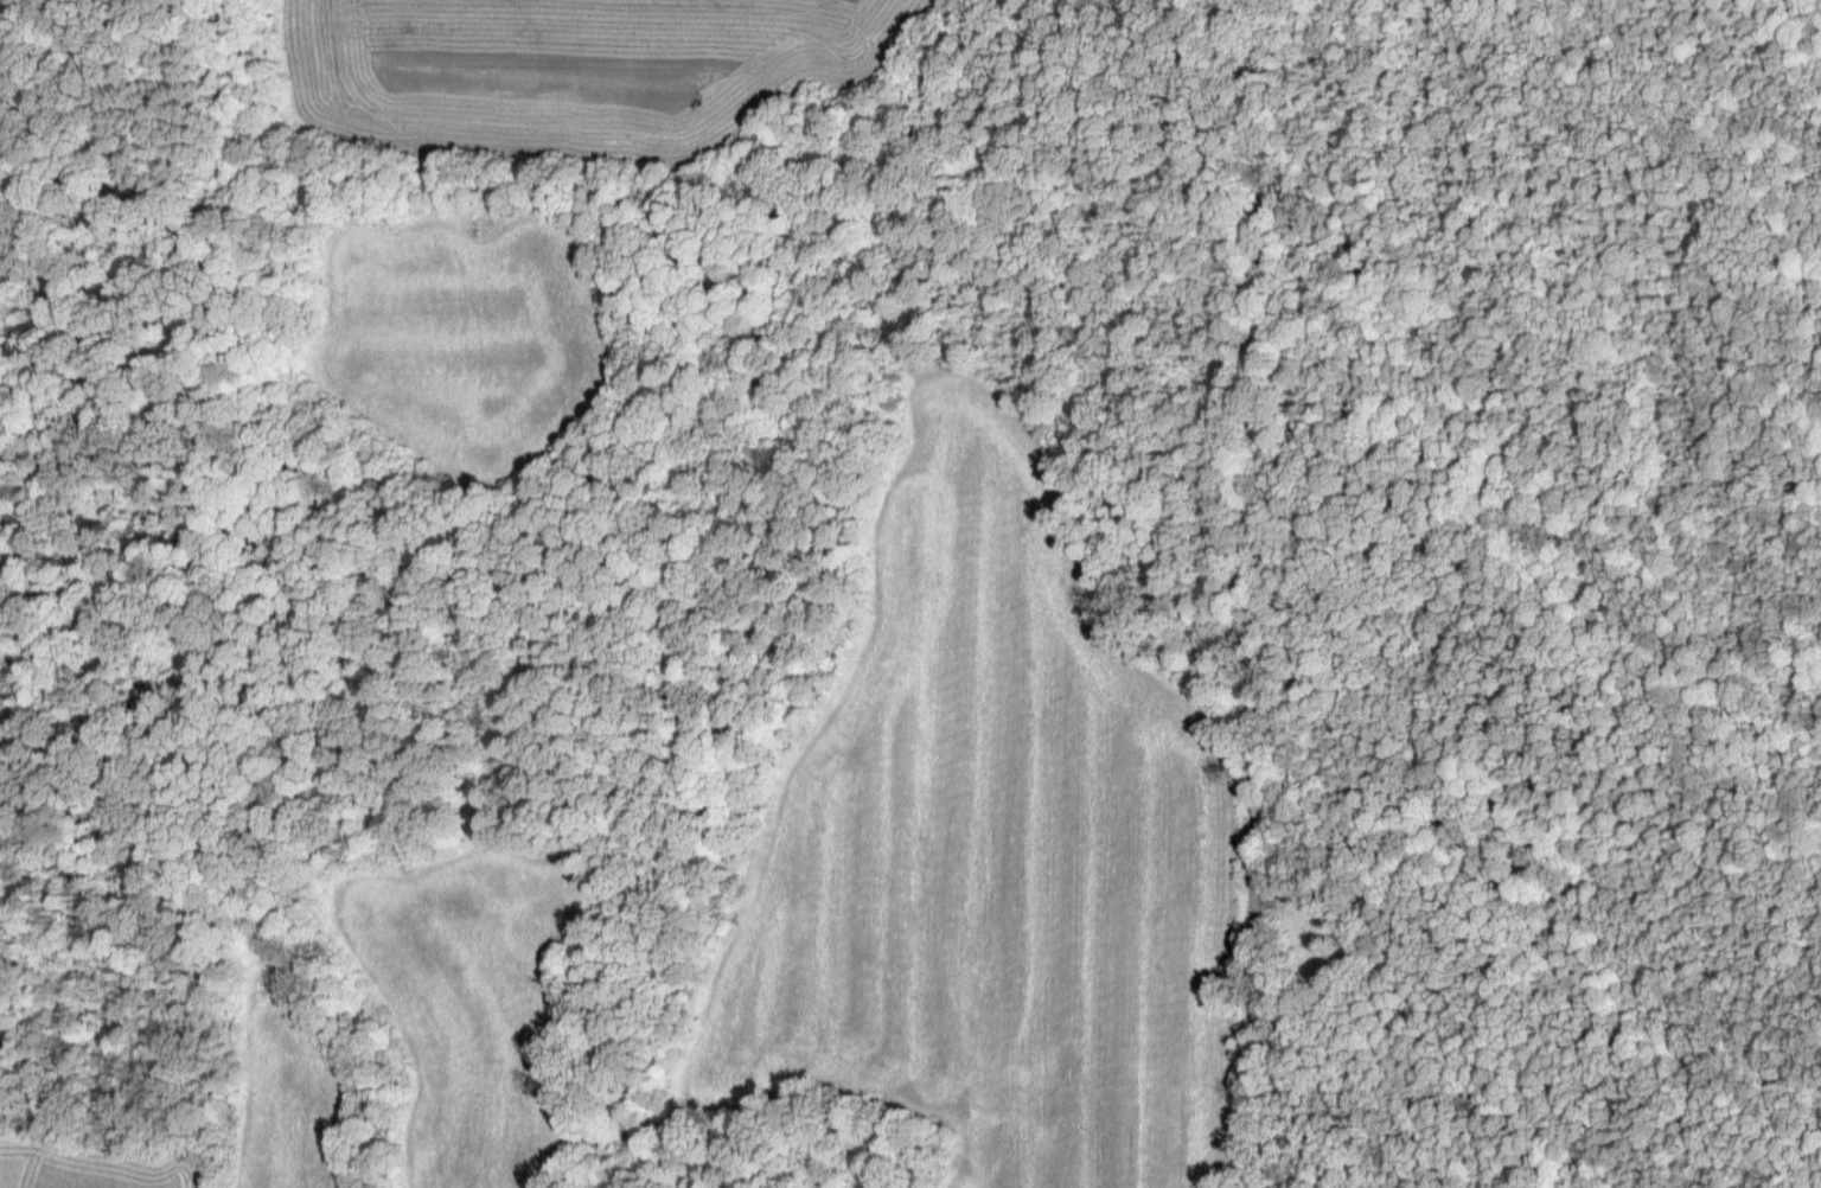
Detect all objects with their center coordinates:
road: (1261, 594)

